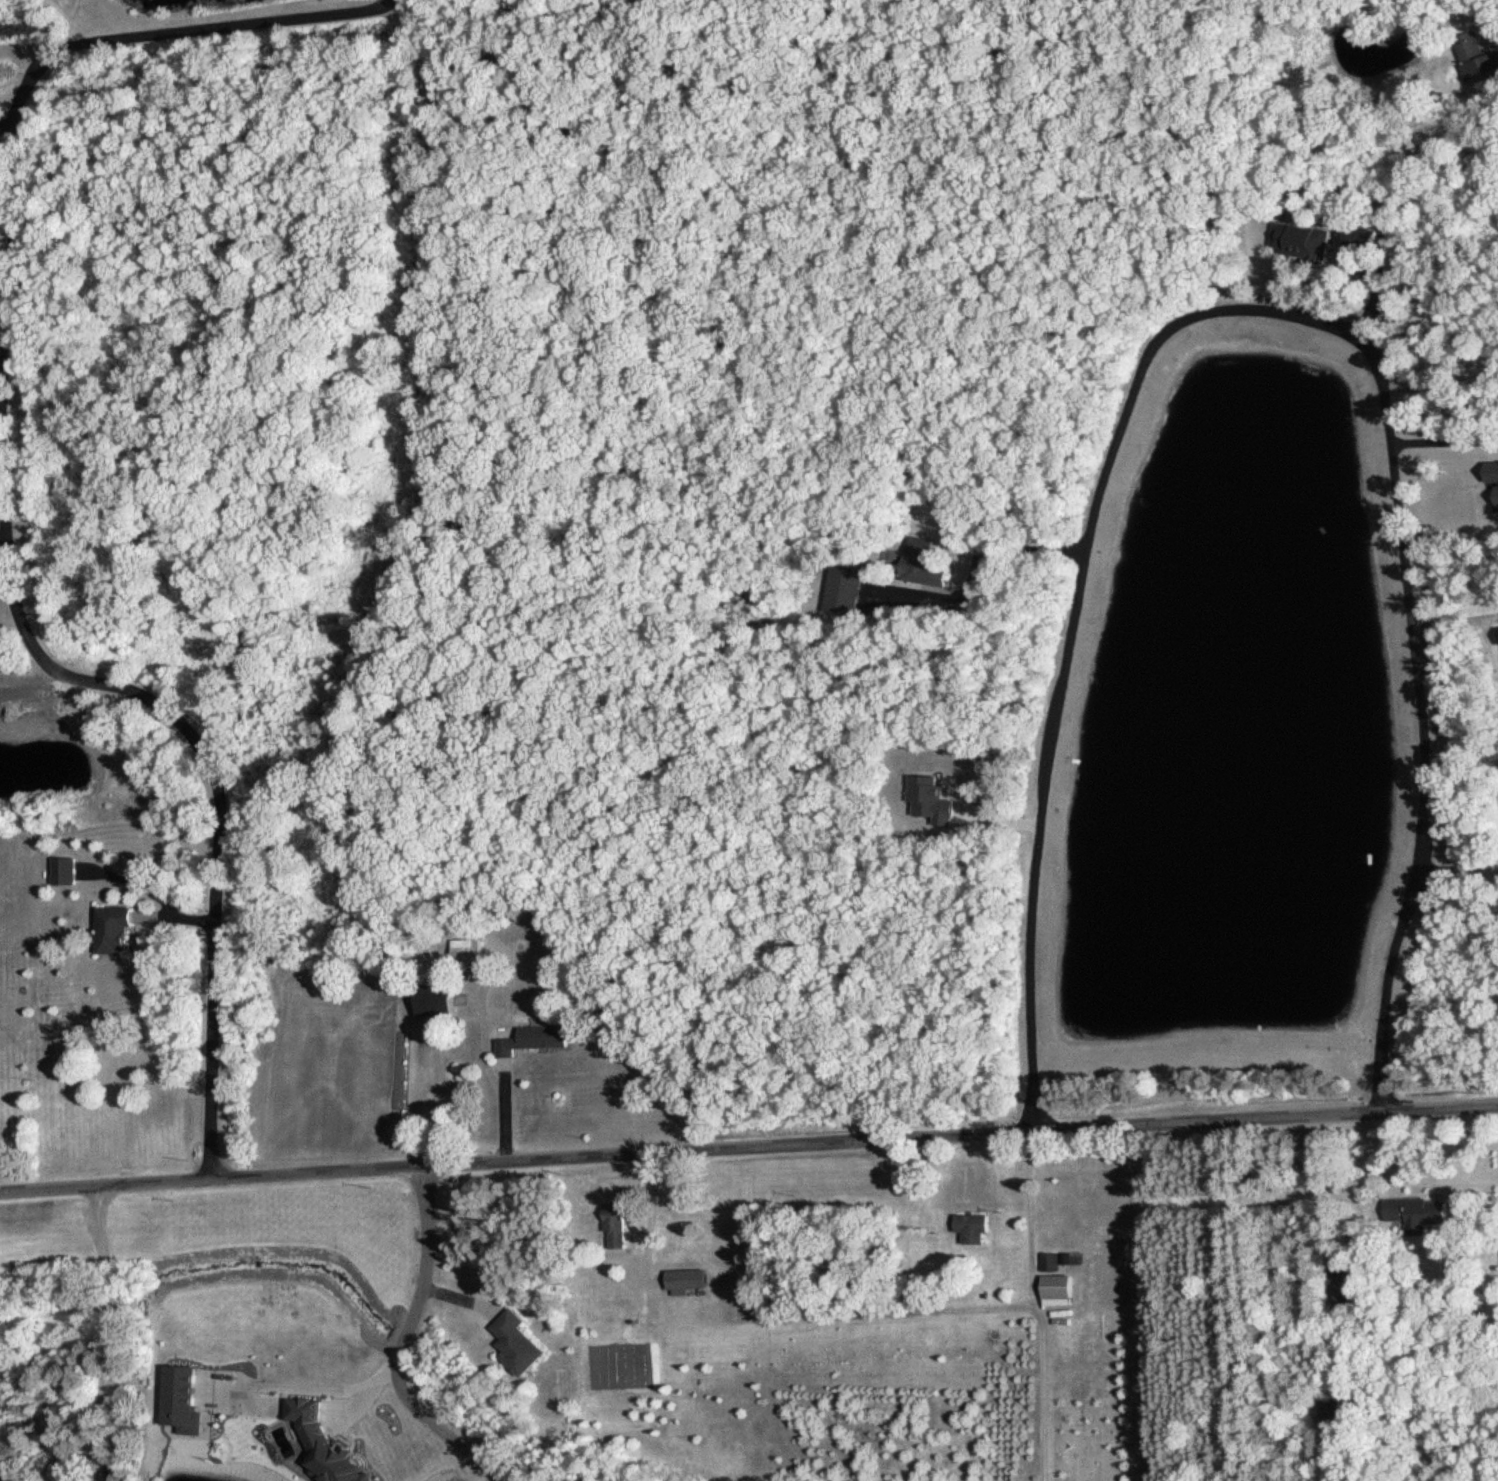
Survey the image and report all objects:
building: (1472, 56)
building: (1301, 240)
road: (1442, 440)
road: (4, 501)
building: (924, 562)
building: (844, 590)
road: (1408, 667)
road: (1063, 678)
road: (1453, 869)
building: (65, 870)
building: (114, 929)
building: (467, 953)
building: (436, 1001)
building: (533, 1040)
road: (748, 1147)
building: (1418, 1213)
building: (615, 1223)
building: (972, 1227)
building: (1050, 1261)
building: (686, 1279)
building: (1058, 1286)
road: (103, 1332)
building: (516, 1343)
road: (396, 1344)
road: (311, 1384)

